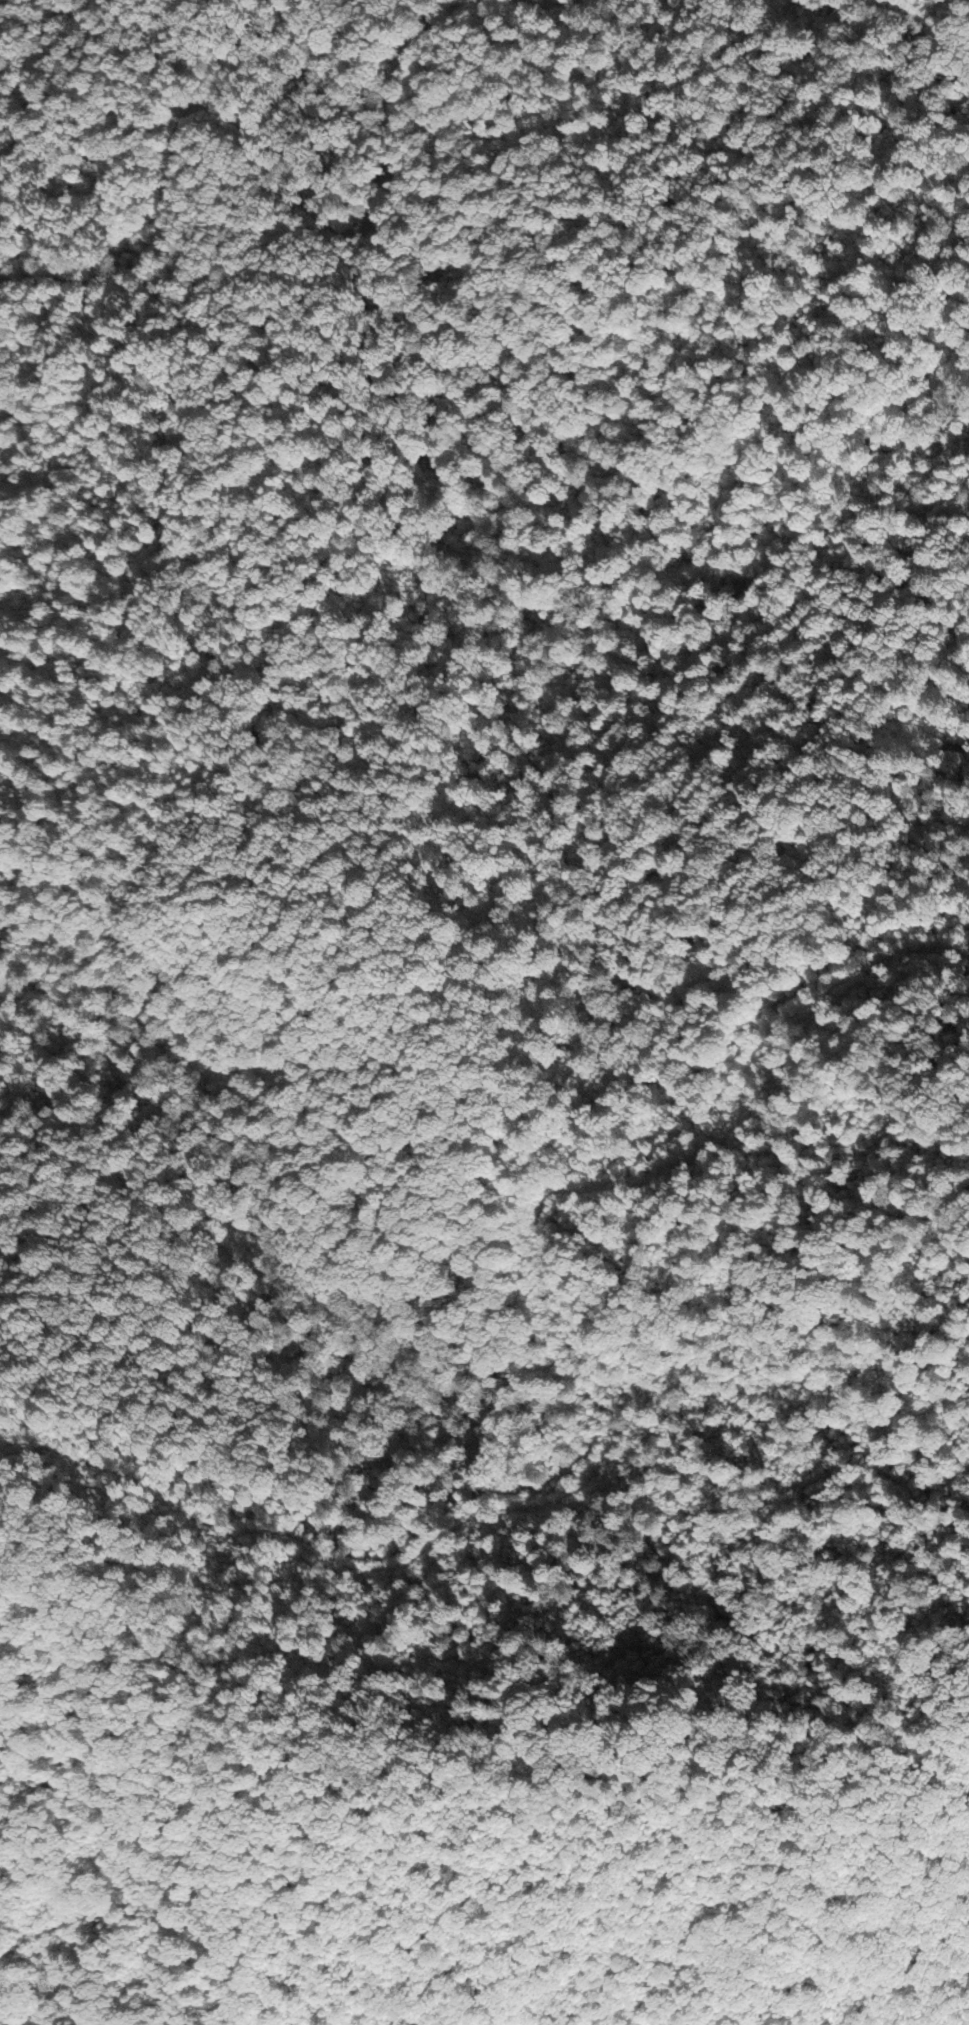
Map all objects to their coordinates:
road: (295, 209)

